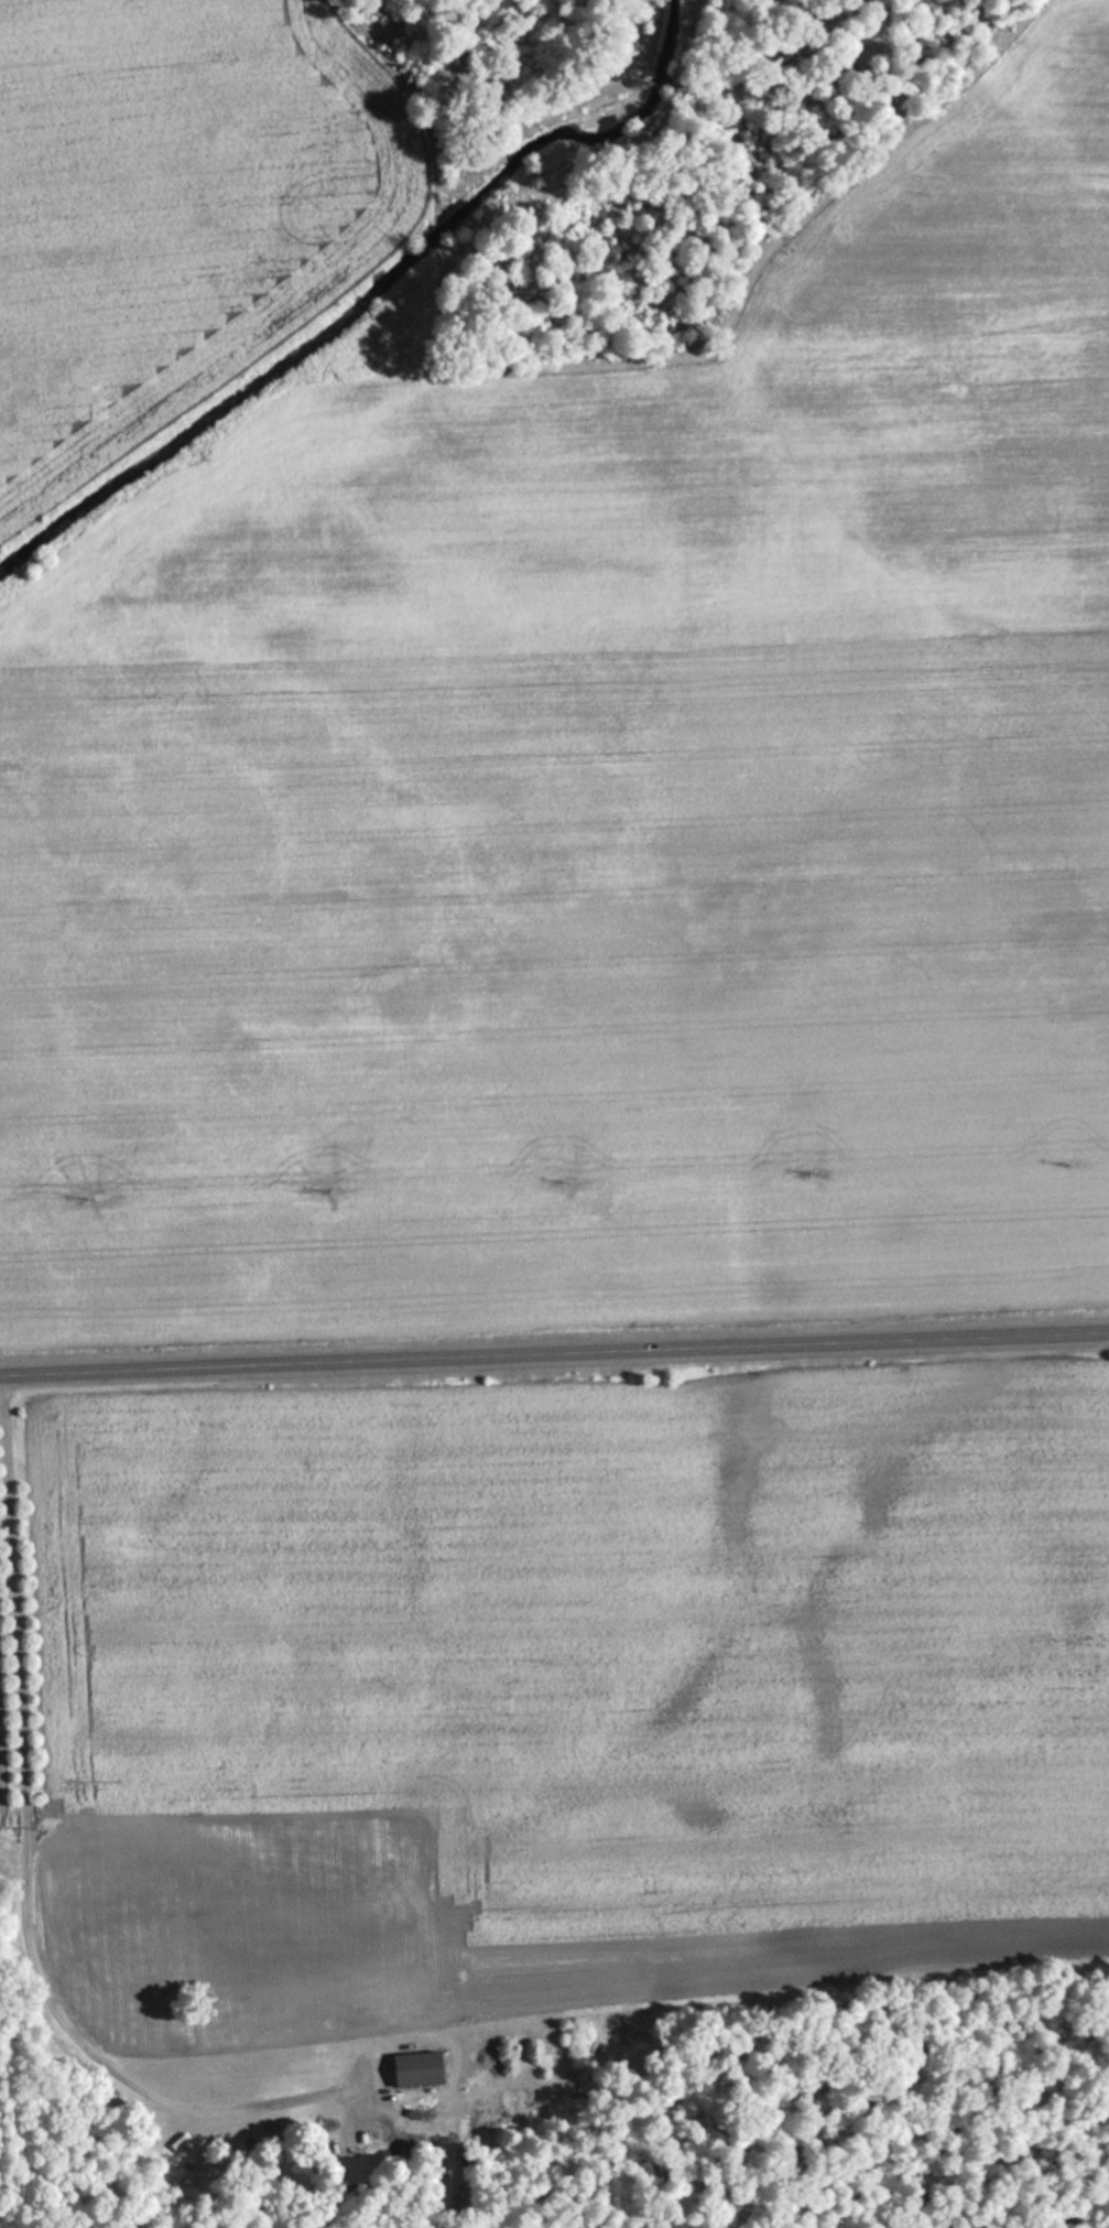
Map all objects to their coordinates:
road: (554, 1348)
building: (415, 2068)

